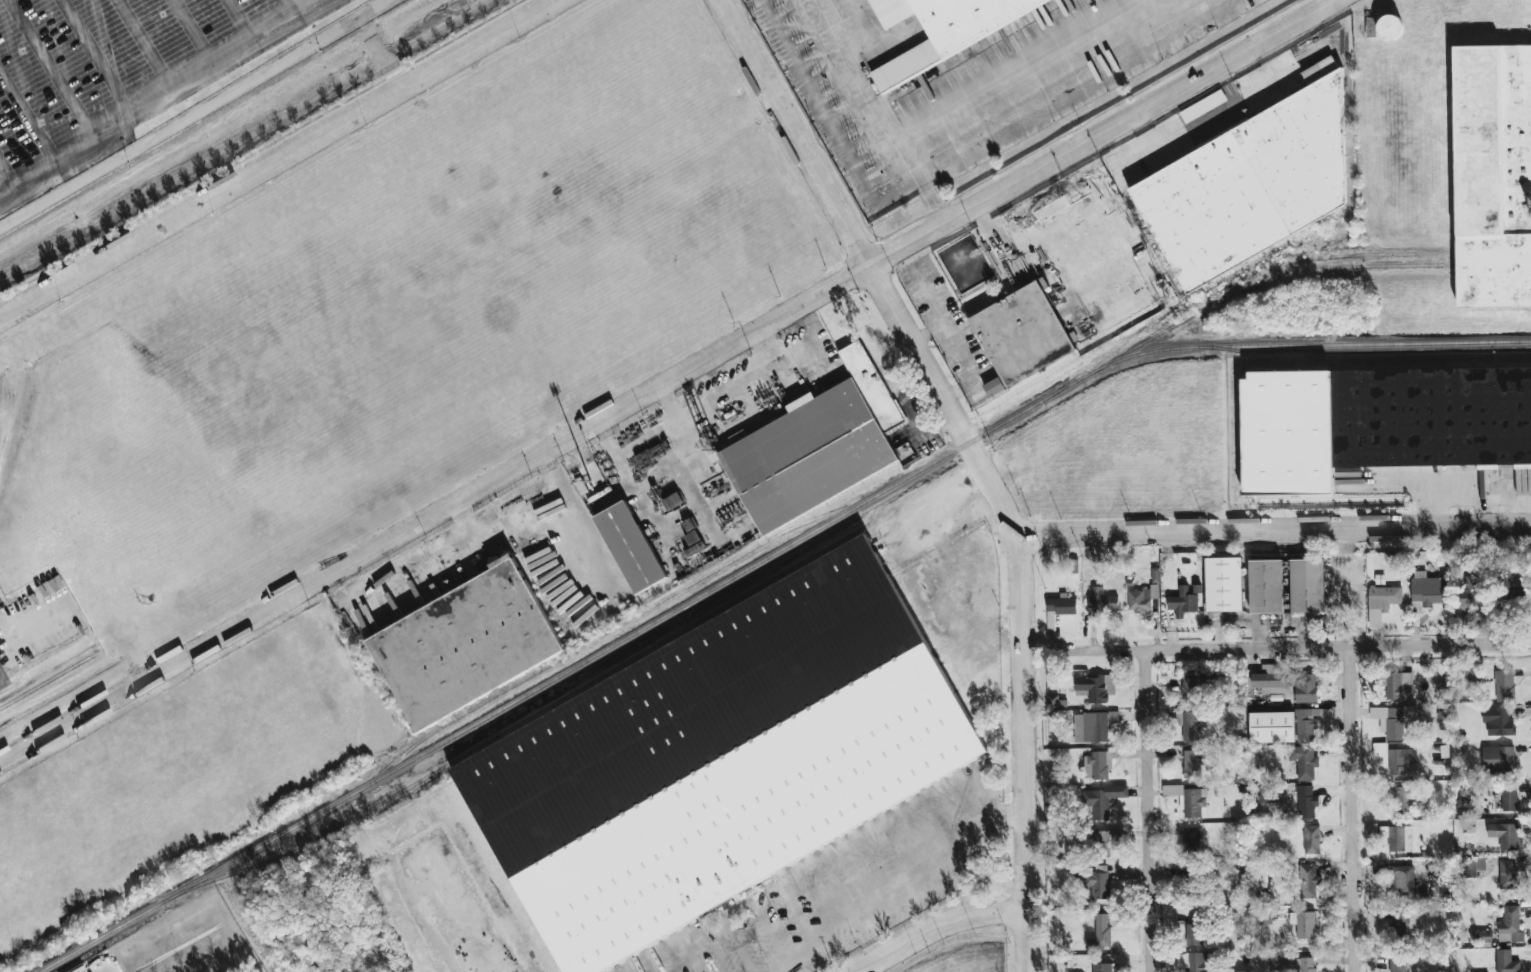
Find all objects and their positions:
road: (1335, 1)
building: (1390, 26)
building: (947, 30)
road: (1014, 66)
road: (846, 72)
road: (1080, 90)
road: (194, 113)
road: (280, 158)
building: (1494, 175)
road: (919, 178)
building: (1253, 182)
railway: (1333, 256)
railway: (1268, 279)
railway: (1169, 312)
building: (1026, 334)
road: (958, 350)
road: (773, 357)
railway: (1369, 363)
road: (670, 382)
building: (994, 387)
building: (1407, 411)
building: (1287, 432)
building: (737, 436)
building: (819, 448)
road: (979, 456)
road: (1305, 465)
road: (556, 467)
road: (1468, 477)
road: (469, 517)
road: (1275, 528)
railway: (762, 544)
building: (633, 548)
road: (447, 552)
railway: (757, 562)
building: (1072, 565)
building: (1224, 584)
building: (1266, 586)
building: (1307, 586)
building: (1508, 586)
building: (1427, 588)
building: (1473, 592)
building: (1142, 598)
building: (1102, 600)
building: (1183, 602)
building: (1382, 602)
building: (1061, 606)
road: (32, 622)
building: (468, 647)
road: (1299, 648)
building: (1272, 676)
railway: (46, 681)
building: (1, 682)
building: (1203, 685)
railway: (7, 686)
building: (1309, 686)
building: (1399, 686)
building: (1505, 686)
building: (1, 687)
building: (1095, 687)
building: (1055, 701)
building: (1392, 719)
building: (1499, 720)
building: (1310, 722)
building: (1093, 726)
building: (1192, 726)
building: (1272, 726)
railway: (500, 732)
building: (726, 756)
building: (1498, 758)
building: (1304, 761)
building: (1193, 763)
building: (1098, 764)
building: (1269, 794)
building: (1509, 798)
building: (1188, 799)
building: (1402, 800)
building: (1102, 801)
building: (1306, 801)
road: (1147, 810)
road: (1353, 810)
building: (1505, 835)
building: (1399, 838)
building: (1311, 839)
building: (1192, 840)
building: (1101, 843)
building: (1508, 879)
building: (1402, 880)
building: (1307, 881)
building: (1098, 885)
road: (867, 888)
road: (448, 911)
building: (1264, 915)
building: (1403, 920)
building: (1304, 924)
building: (1510, 925)
road: (939, 927)
building: (1193, 929)
building: (1100, 933)
building: (1485, 936)
road: (765, 960)
building: (1195, 961)
building: (1506, 961)
building: (1275, 962)
building: (1399, 963)
building: (1305, 964)
building: (1102, 967)
building: (1238, 971)

